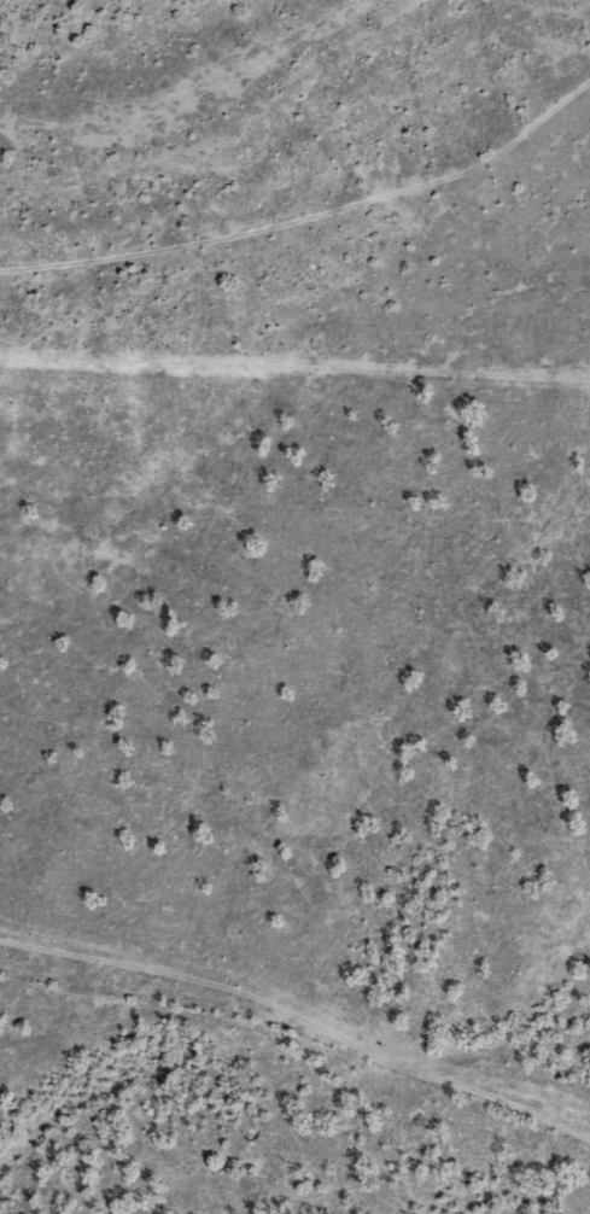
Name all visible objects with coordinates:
road: (298, 1022)

